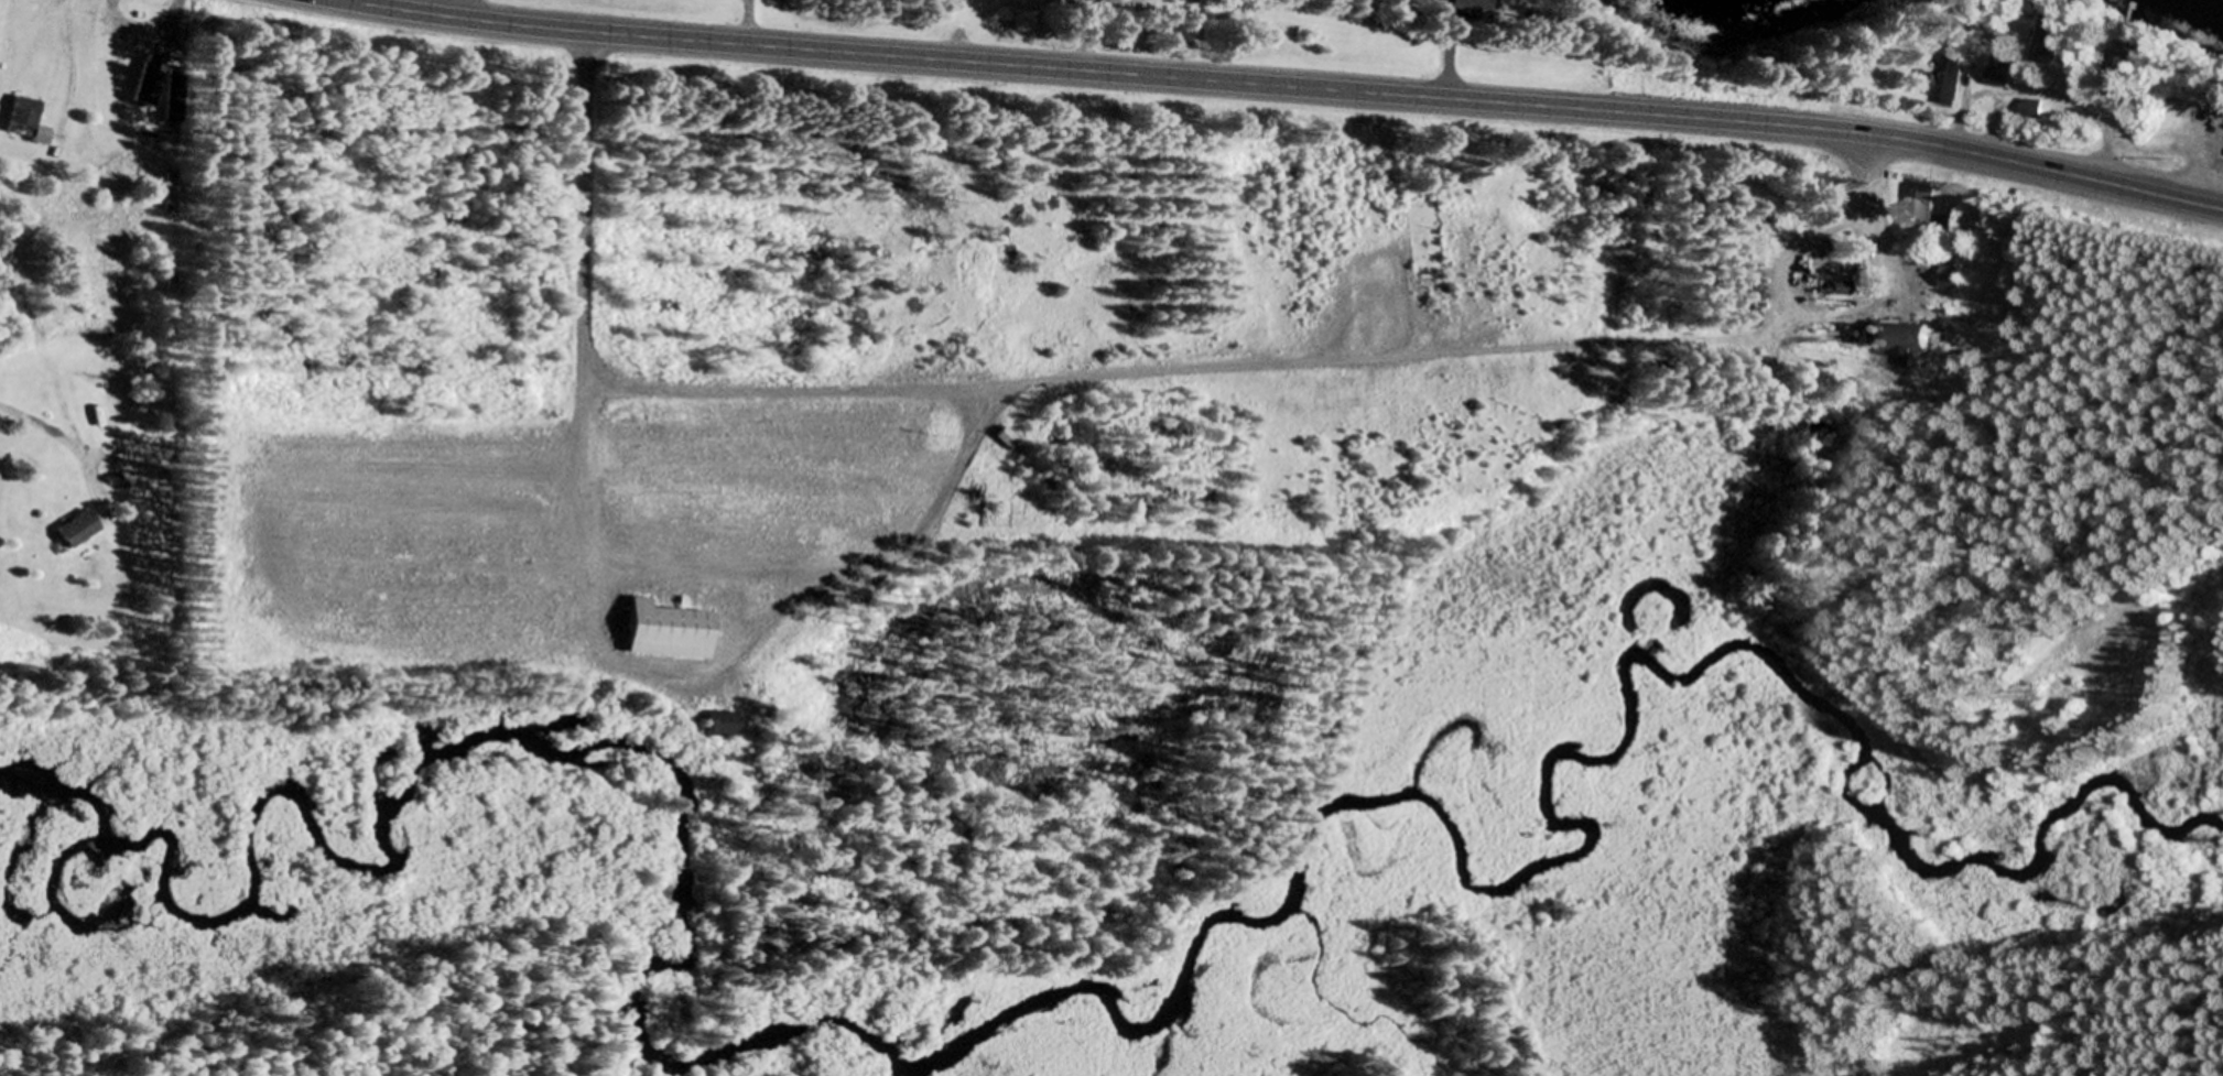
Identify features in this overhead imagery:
building: (1468, 6)
building: (2049, 41)
building: (1999, 73)
building: (1944, 80)
building: (145, 85)
road: (1279, 88)
building: (23, 123)
building: (164, 189)
building: (1923, 205)
building: (1423, 243)
building: (1951, 278)
building: (1839, 290)
building: (1898, 339)
road: (587, 369)
building: (1004, 441)
building: (73, 531)
building: (662, 632)
building: (717, 726)

